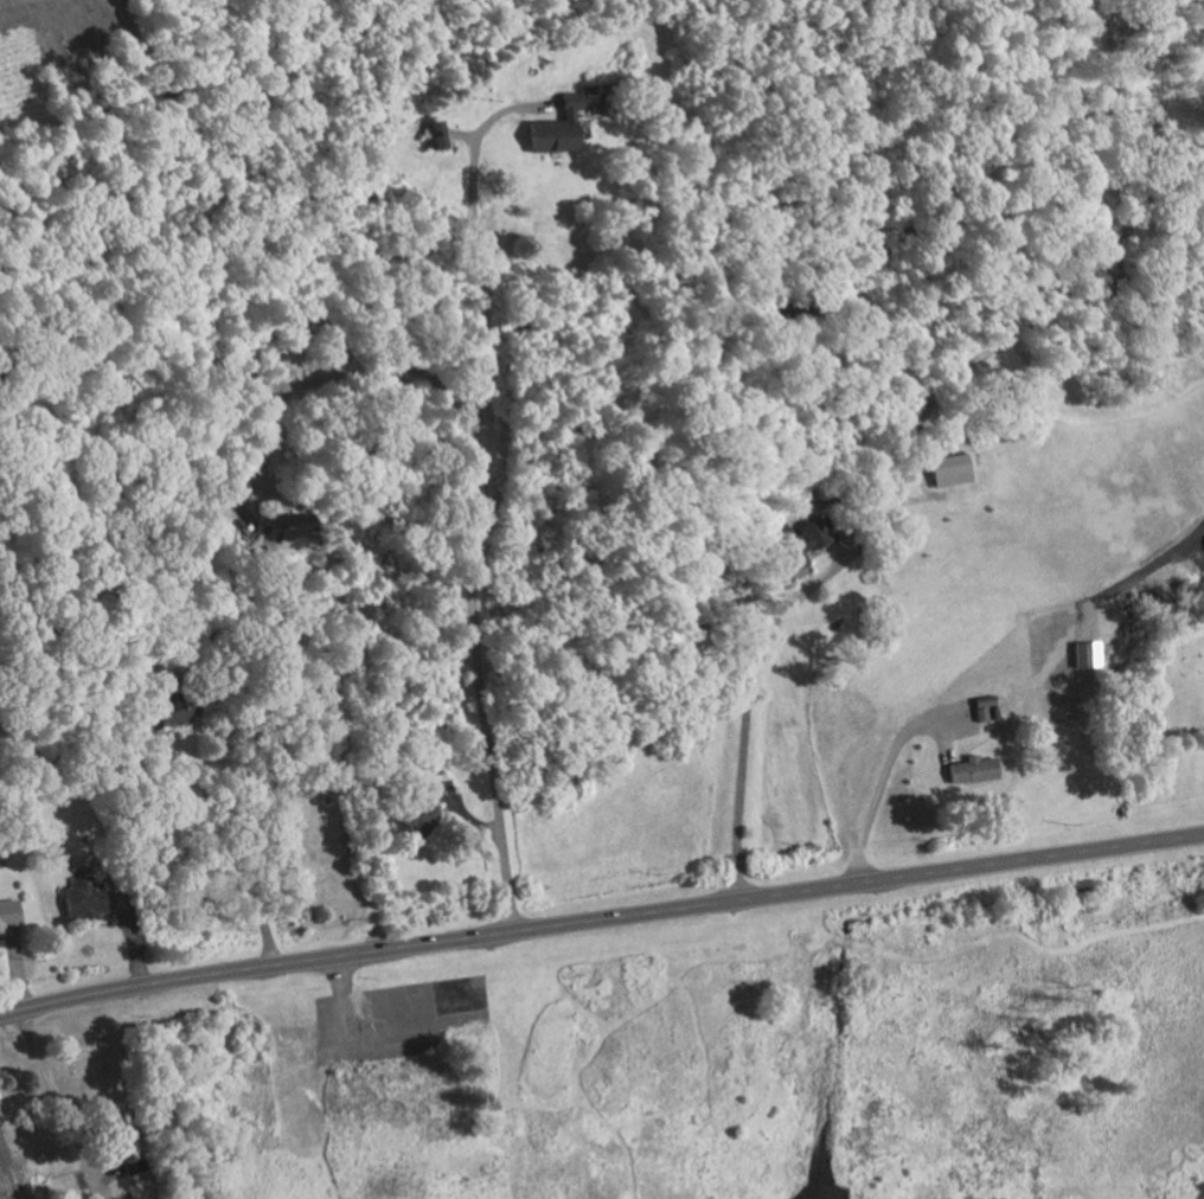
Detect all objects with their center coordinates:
road: (28, 124)
building: (551, 128)
building: (437, 134)
road: (474, 148)
road: (339, 374)
building: (947, 470)
building: (263, 521)
building: (796, 540)
road: (468, 573)
road: (747, 687)
building: (966, 770)
road: (880, 786)
building: (423, 817)
road: (198, 852)
building: (87, 899)
building: (9, 915)
road: (601, 919)
road: (39, 1065)

